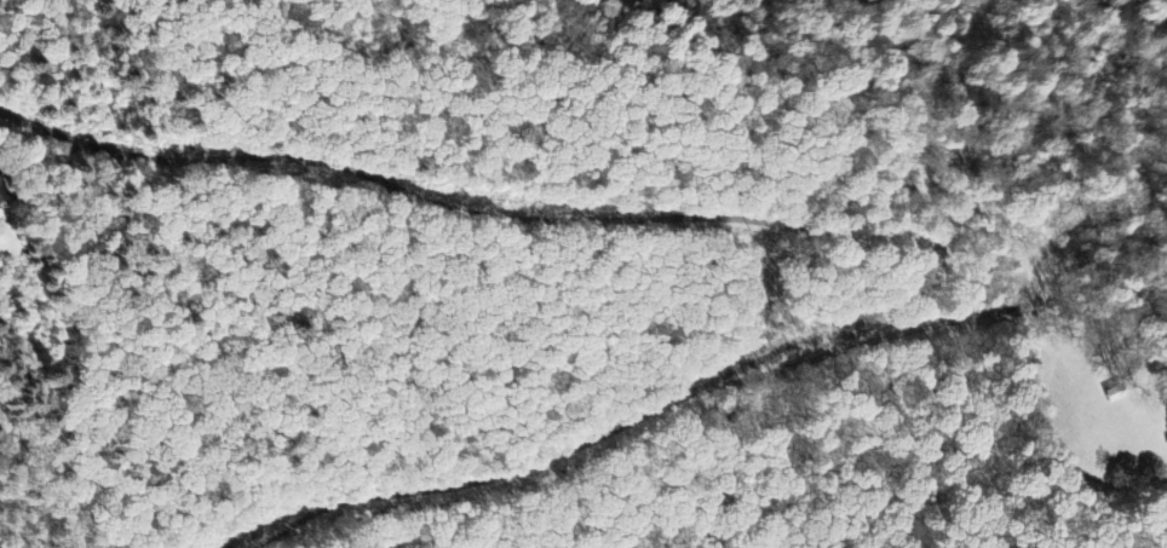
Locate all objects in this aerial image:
road: (834, 230)

